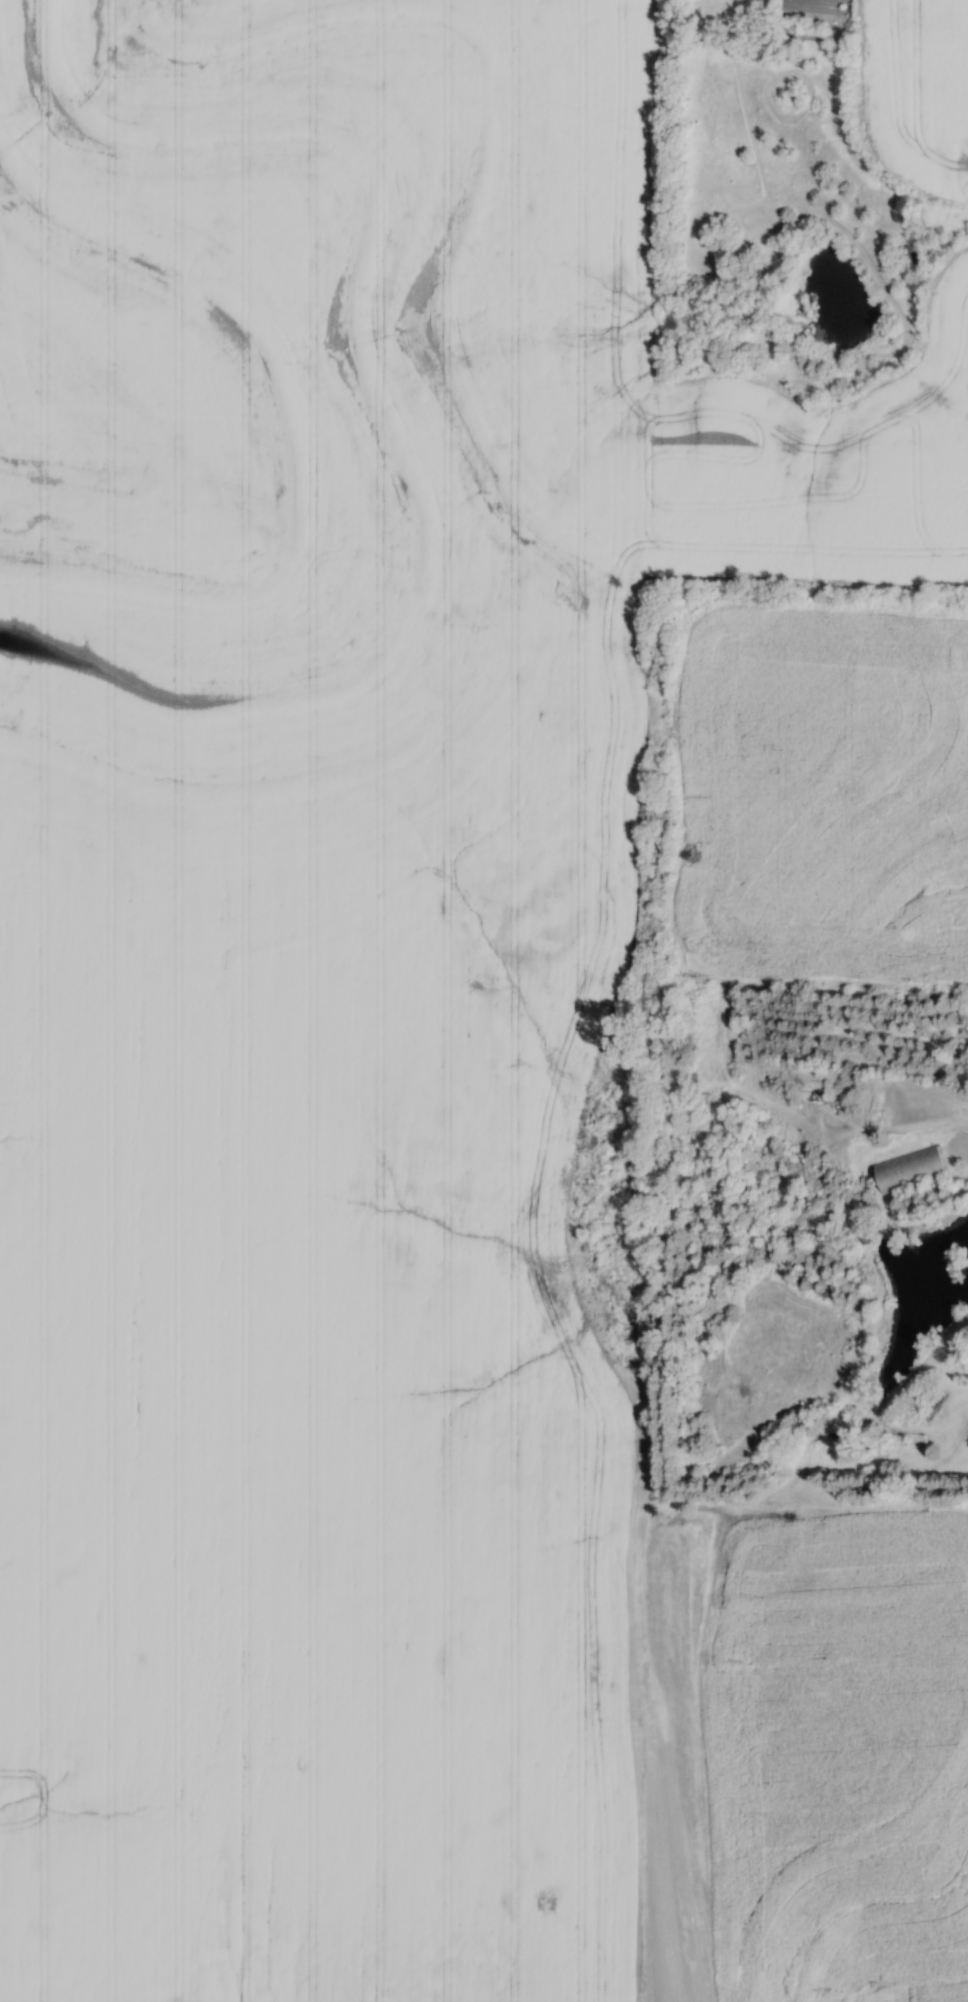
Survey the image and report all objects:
building: (907, 1168)
airport runway: (677, 1925)

